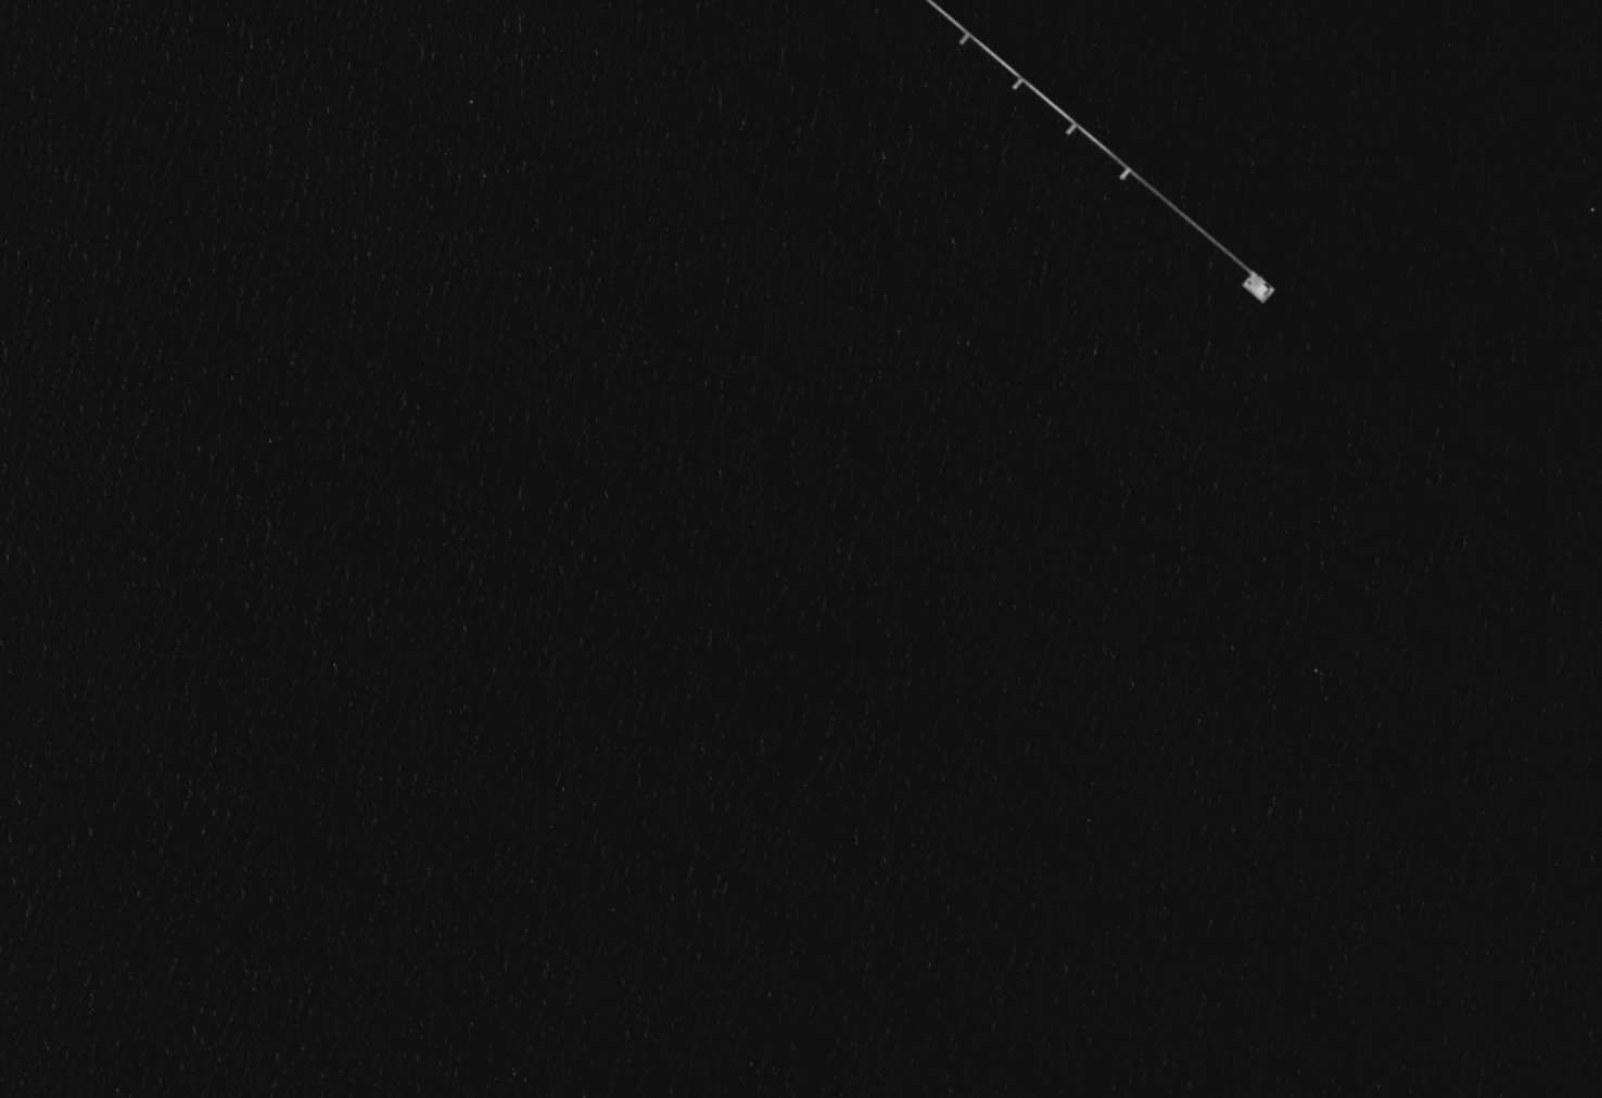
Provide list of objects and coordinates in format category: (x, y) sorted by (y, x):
pier: (1104, 146)

